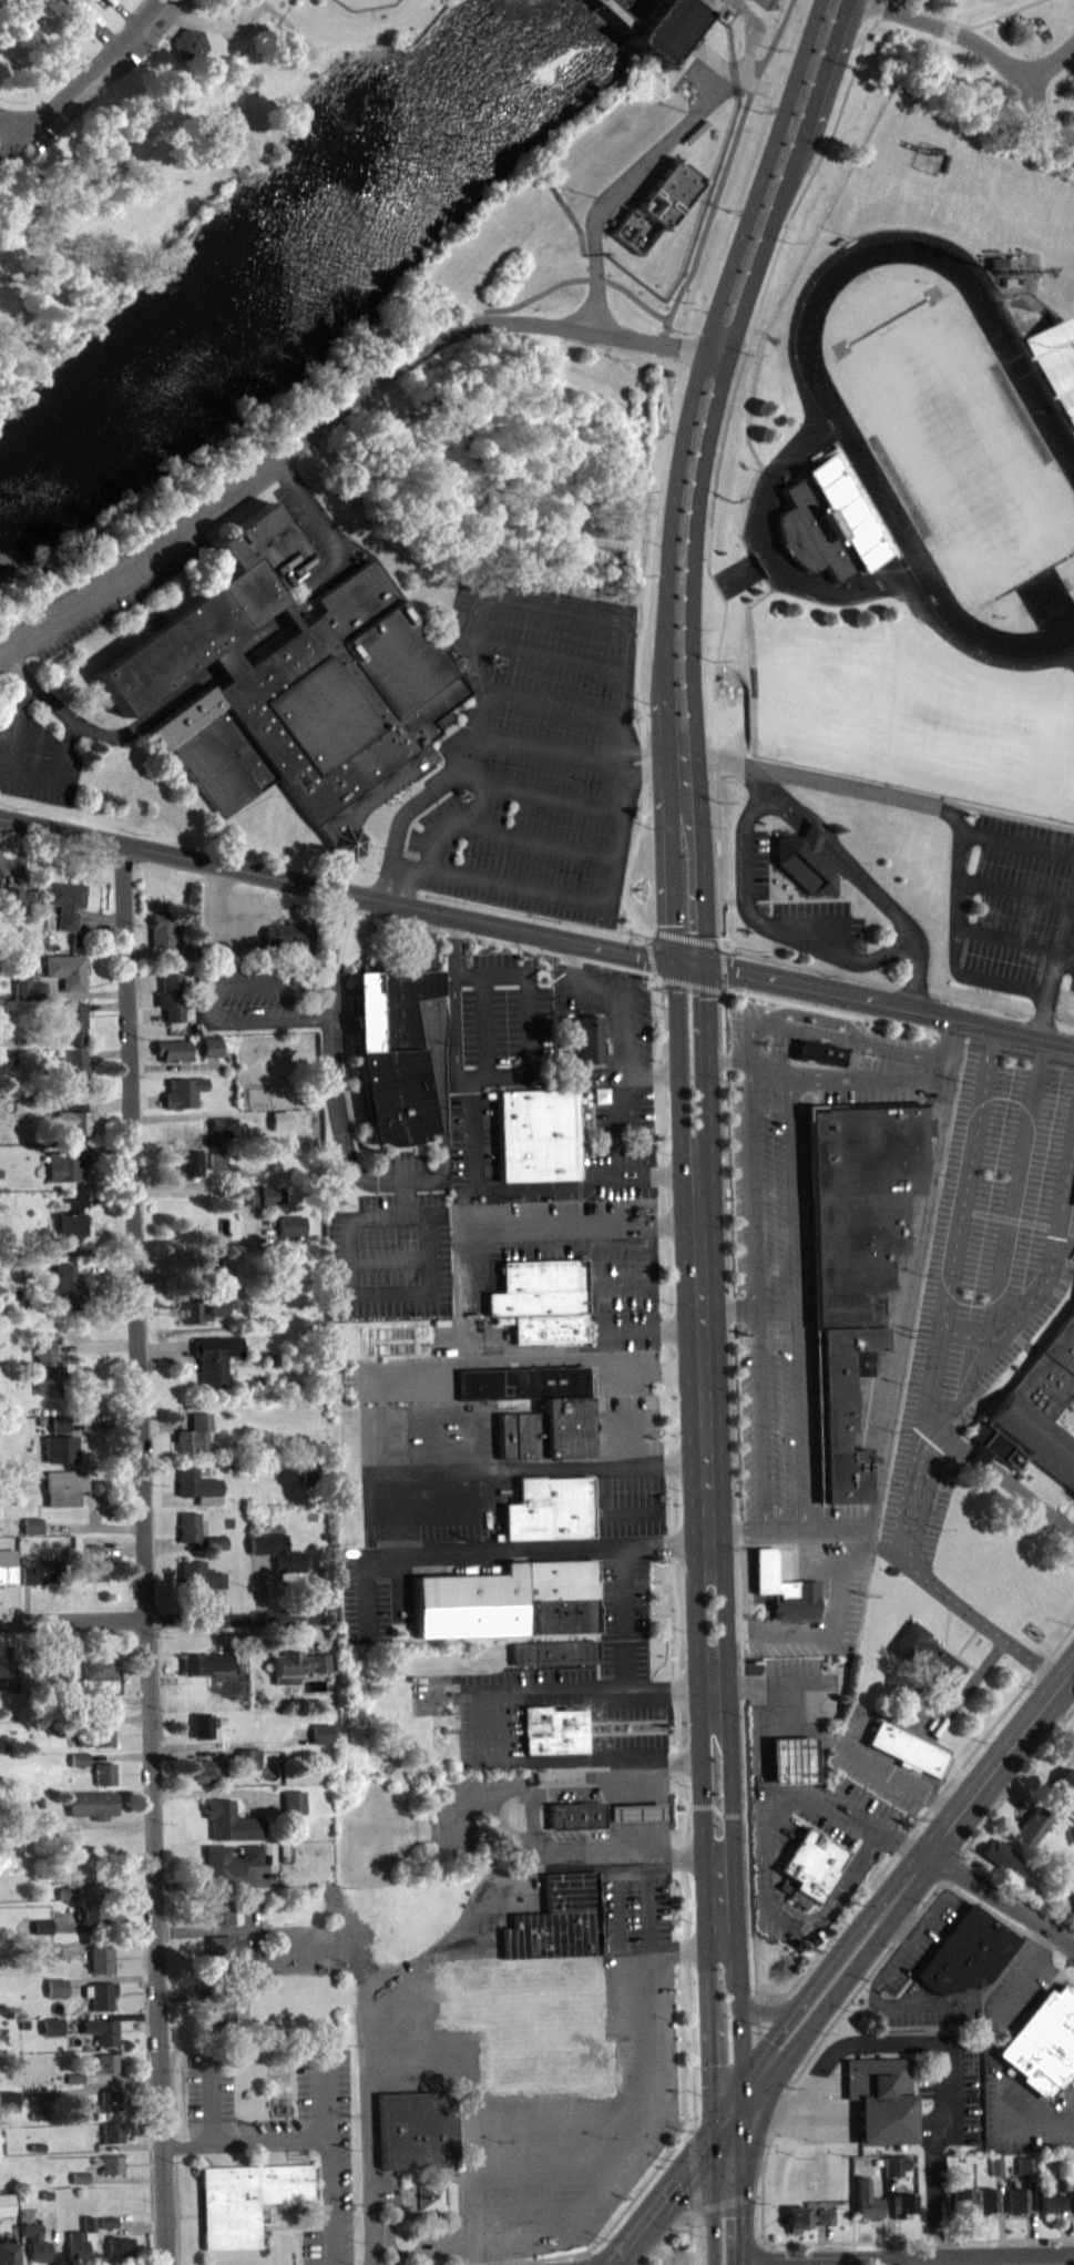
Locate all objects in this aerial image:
park: (362, 2)
power substation: (768, 2)
road: (121, 14)
dam: (622, 14)
road: (399, 19)
road: (288, 23)
road: (964, 23)
road: (91, 28)
road: (416, 41)
building: (188, 42)
road: (981, 45)
road: (1050, 63)
road: (749, 80)
road: (84, 83)
road: (16, 125)
park: (144, 140)
road: (725, 171)
road: (622, 185)
building: (671, 192)
river: (273, 255)
road: (581, 278)
building: (1058, 364)
road: (336, 416)
park: (961, 447)
track: (865, 461)
road: (693, 471)
building: (811, 531)
building: (601, 535)
road: (337, 542)
road: (544, 601)
road: (289, 615)
road: (262, 635)
road: (718, 636)
parking lot: (33, 643)
road: (640, 643)
road: (227, 661)
building: (294, 685)
road: (108, 733)
road: (460, 739)
parking lot: (529, 756)
road: (653, 769)
road: (18, 773)
road: (396, 827)
road: (20, 855)
building: (804, 859)
road: (8, 864)
road: (410, 876)
road: (344, 889)
road: (608, 894)
building: (10, 898)
building: (64, 900)
road: (349, 915)
road: (100, 918)
road: (533, 918)
building: (163, 928)
road: (684, 936)
building: (287, 937)
road: (427, 937)
building: (187, 950)
road: (152, 951)
road: (652, 956)
traffic signals: (688, 962)
road: (722, 969)
building: (65, 970)
road: (691, 982)
road: (429, 983)
building: (27, 987)
road: (84, 992)
building: (170, 996)
road: (880, 1003)
road: (105, 1004)
road: (829, 1009)
road: (205, 1011)
road: (144, 1013)
building: (72, 1020)
building: (500, 1021)
road: (623, 1022)
building: (587, 1038)
building: (209, 1045)
road: (723, 1048)
building: (171, 1049)
building: (391, 1050)
road: (105, 1051)
building: (819, 1052)
road: (211, 1059)
road: (176, 1063)
building: (71, 1070)
building: (182, 1090)
road: (146, 1100)
road: (108, 1104)
building: (71, 1114)
road: (173, 1114)
building: (278, 1119)
building: (222, 1125)
building: (536, 1133)
road: (617, 1161)
building: (217, 1166)
building: (191, 1169)
building: (65, 1171)
road: (350, 1173)
road: (966, 1180)
road: (559, 1182)
road: (1013, 1190)
road: (219, 1192)
building: (265, 1201)
road: (1065, 1202)
building: (75, 1206)
road: (585, 1223)
building: (69, 1231)
building: (291, 1232)
building: (855, 1258)
building: (215, 1273)
road: (617, 1282)
building: (538, 1287)
building: (69, 1293)
road: (1033, 1303)
building: (190, 1312)
road: (698, 1323)
building: (550, 1327)
road: (962, 1336)
road: (600, 1337)
building: (214, 1364)
building: (47, 1375)
building: (1050, 1376)
building: (565, 1405)
building: (193, 1439)
building: (1023, 1445)
road: (949, 1446)
building: (60, 1448)
road: (979, 1467)
road: (569, 1472)
building: (195, 1489)
building: (61, 1494)
road: (1030, 1503)
building: (209, 1506)
building: (550, 1508)
building: (31, 1531)
building: (188, 1532)
road: (908, 1543)
road: (739, 1551)
road: (673, 1553)
building: (91, 1554)
road: (144, 1554)
building: (278, 1558)
road: (495, 1558)
building: (8, 1571)
building: (92, 1577)
building: (41, 1578)
building: (200, 1582)
building: (785, 1588)
building: (509, 1599)
road: (166, 1619)
building: (554, 1651)
building: (928, 1654)
road: (1073, 1665)
building: (205, 1669)
building: (299, 1669)
building: (6, 1676)
building: (100, 1680)
road: (805, 1683)
parking lot: (799, 1688)
road: (1056, 1722)
building: (552, 1730)
building: (200, 1731)
road: (760, 1734)
road: (513, 1735)
building: (321, 1739)
building: (95, 1742)
building: (907, 1747)
building: (791, 1761)
gas station: (791, 1761)
building: (247, 1764)
parking lot: (876, 1764)
building: (79, 1765)
building: (208, 1776)
road: (897, 1776)
building: (104, 1779)
building: (1063, 1785)
road: (812, 1792)
road: (1010, 1793)
road: (1006, 1794)
road: (688, 1805)
road: (702, 1805)
road: (928, 1806)
building: (294, 1808)
road: (716, 1809)
building: (92, 1810)
building: (634, 1812)
gas station: (634, 1812)
building: (574, 1814)
road: (732, 1814)
road: (745, 1814)
road: (714, 1815)
parking lot: (833, 1815)
building: (1032, 1825)
building: (229, 1827)
road: (870, 1840)
road: (761, 1841)
road: (765, 1841)
road: (582, 1845)
road: (900, 1845)
building: (1000, 1854)
building: (810, 1866)
building: (228, 1868)
building: (78, 1880)
road: (903, 1884)
road: (1071, 1898)
building: (65, 1899)
road: (1001, 1899)
building: (250, 1906)
road: (653, 1909)
building: (219, 1914)
road: (806, 1914)
road: (901, 1918)
building: (101, 1920)
road: (1009, 1921)
road: (804, 1924)
parking lot: (1073, 1929)
building: (42, 1932)
parking lot: (919, 1938)
building: (552, 1941)
road: (1073, 1942)
building: (965, 1951)
building: (49, 1956)
building: (234, 1959)
building: (101, 1965)
road: (1024, 1968)
parking lot: (1017, 1987)
building: (57, 1993)
road: (768, 1994)
road: (876, 1999)
building: (100, 2001)
street lamp: (673, 2019)
building: (223, 2021)
road: (735, 2024)
building: (53, 2032)
building: (103, 2037)
road: (410, 2040)
building: (1043, 2040)
road: (944, 2041)
road: (758, 2043)
road: (817, 2043)
building: (106, 2069)
parking lot: (949, 2092)
road: (324, 2096)
building: (881, 2098)
road: (212, 2102)
road: (710, 2104)
building: (9, 2106)
building: (111, 2106)
traffic signals: (740, 2109)
parking lot: (1025, 2111)
road: (1025, 2126)
building: (416, 2129)
road: (640, 2130)
street lamp: (601, 2135)
parking lot: (290, 2136)
traffic signals: (712, 2138)
building: (113, 2139)
street lamp: (665, 2139)
street lamp: (499, 2140)
road: (308, 2143)
street lamp: (667, 2164)
building: (894, 2164)
building: (1024, 2164)
building: (874, 2166)
building: (996, 2166)
building: (112, 2170)
road: (693, 2171)
road: (672, 2184)
building: (1061, 2184)
road: (739, 2186)
building: (522, 2192)
building: (429, 2194)
building: (245, 2198)
building: (962, 2198)
building: (867, 2200)
building: (986, 2200)
building: (1017, 2201)
road: (729, 2202)
building: (1047, 2204)
building: (1073, 2204)
building: (901, 2205)
building: (6, 2211)
road: (693, 2213)
road: (1031, 2213)
road: (1002, 2214)
building: (807, 2216)
road: (889, 2216)
road: (1062, 2222)
building: (89, 2230)
road: (663, 2236)
road: (918, 2240)
street lamp: (596, 2241)
road: (689, 2241)
road: (825, 2241)
road: (760, 2247)
street lamp: (554, 2248)
building: (78, 2251)
building: (120, 2252)
road: (574, 2252)
road: (582, 2255)
building: (8, 2256)
building: (40, 2256)
street lamp: (534, 2256)
road: (907, 2256)
road: (978, 2259)
road: (1006, 2259)
road: (1060, 2259)
road: (880, 2261)
road: (886, 2261)
road: (917, 2261)
road: (948, 2261)
road: (579, 2262)

